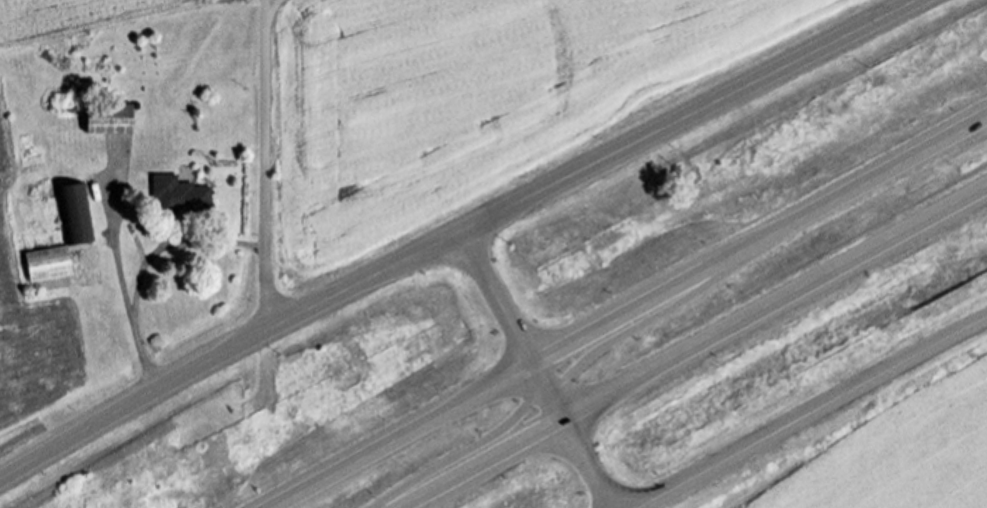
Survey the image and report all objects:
building: (111, 119)
road: (267, 164)
building: (183, 194)
building: (77, 214)
road: (455, 234)
road: (120, 238)
building: (52, 263)
road: (148, 267)
road: (629, 312)
road: (658, 317)
road: (693, 350)
road: (537, 370)
road: (810, 414)
road: (474, 449)

